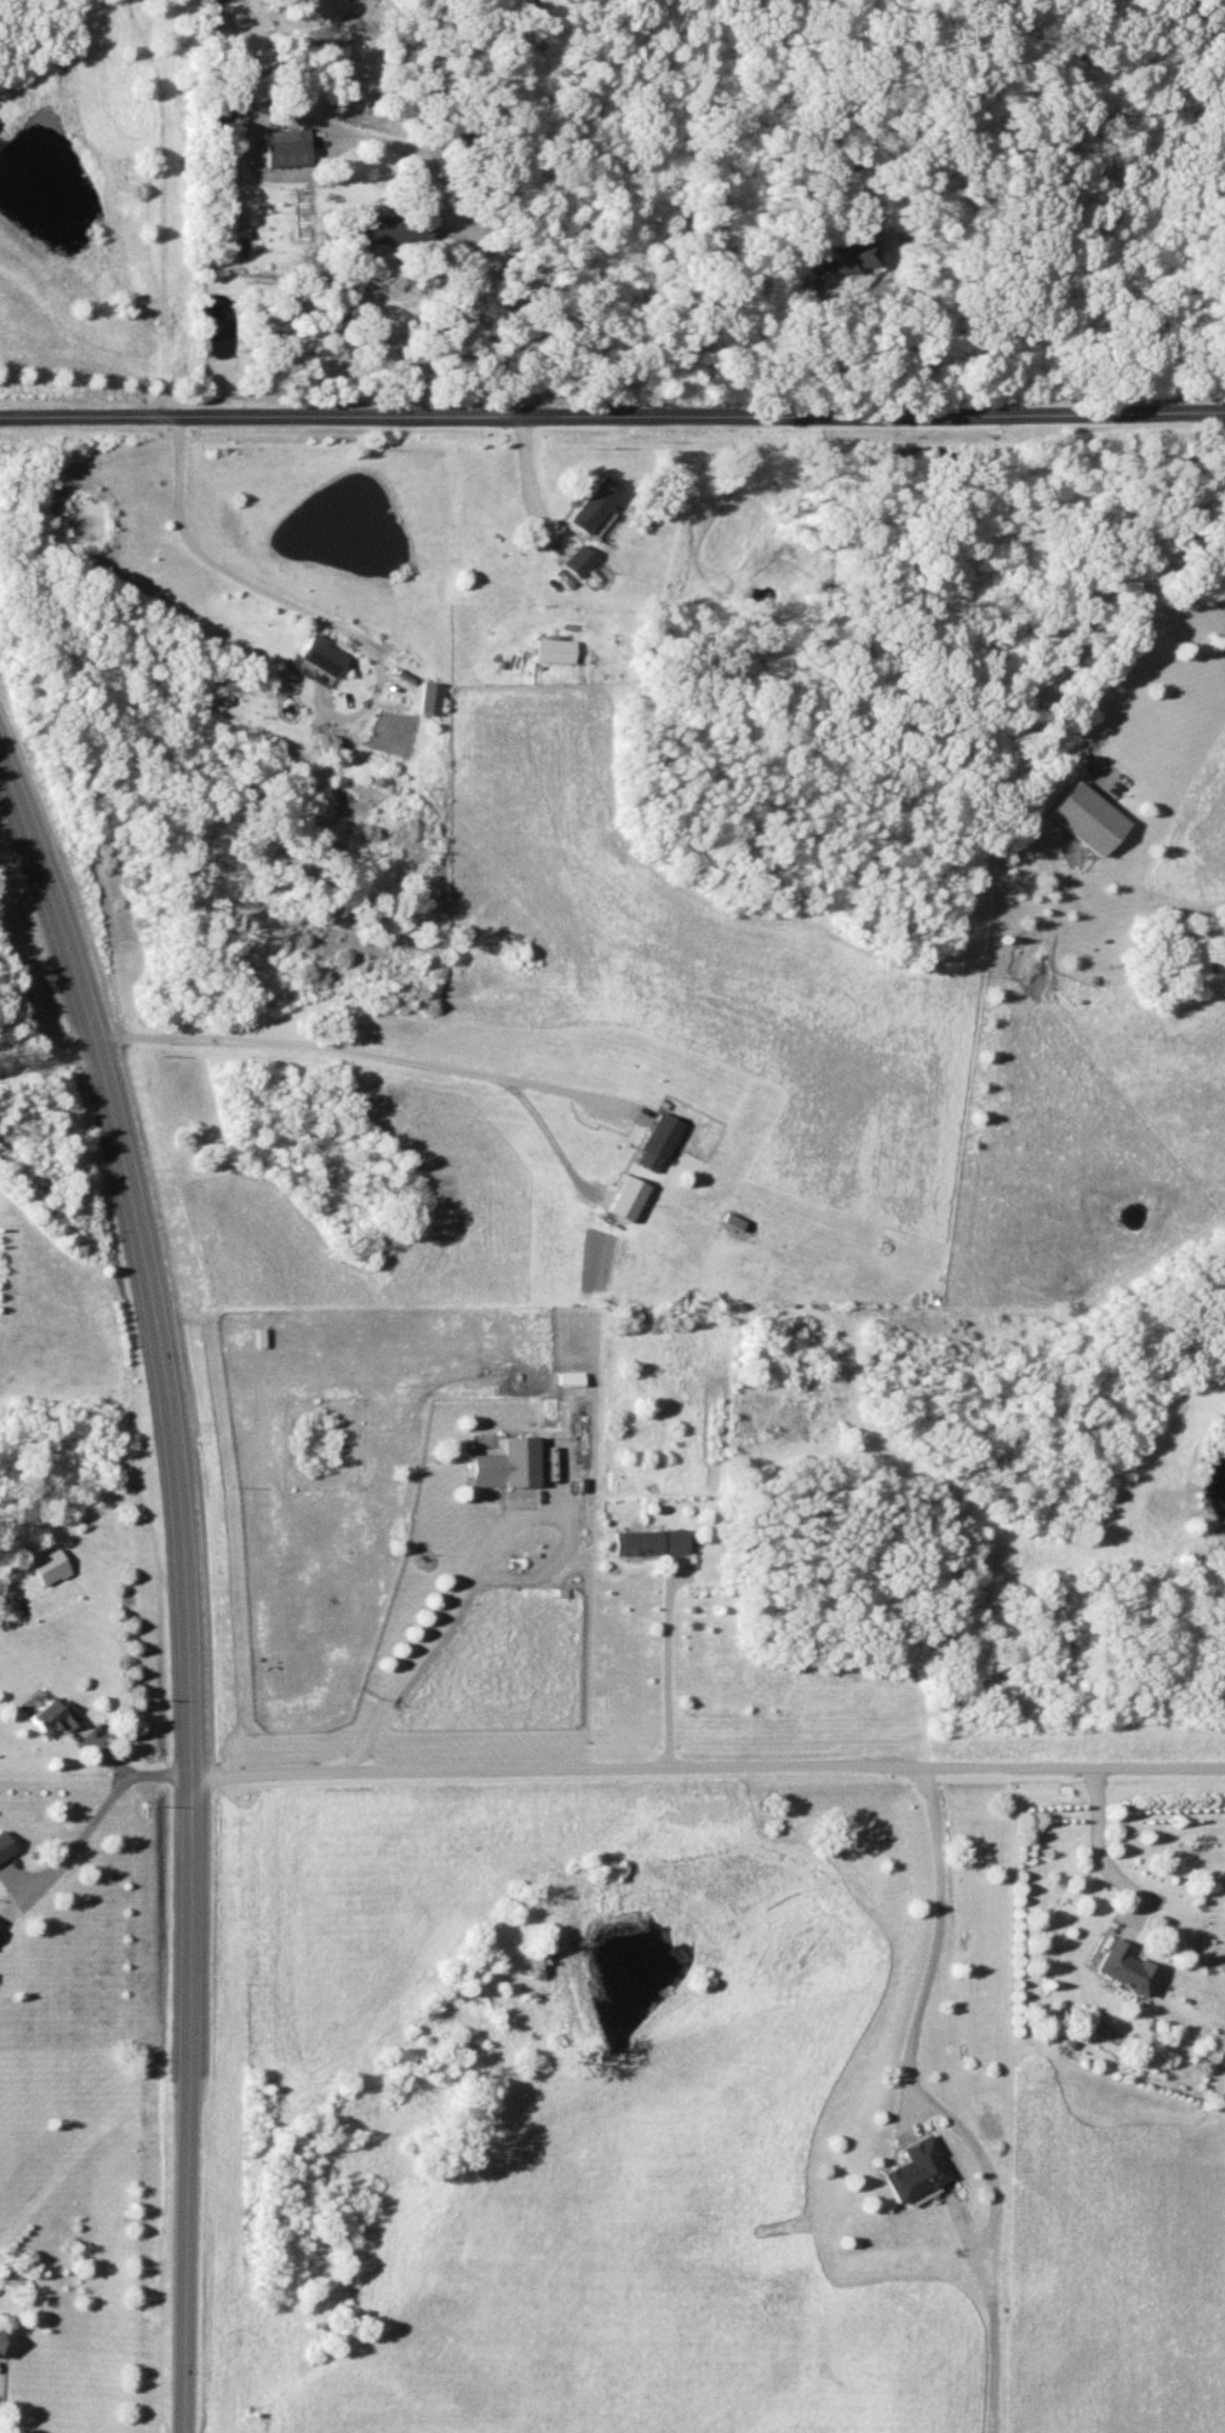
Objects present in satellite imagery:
building: (287, 147)
road: (161, 204)
building: (388, 228)
building: (838, 255)
road: (504, 309)
road: (612, 412)
road: (525, 474)
building: (593, 503)
building: (578, 560)
road: (1120, 565)
road: (257, 587)
building: (553, 651)
building: (325, 655)
building: (431, 698)
building: (1088, 819)
road: (345, 1049)
road: (46, 1055)
building: (656, 1142)
building: (504, 1463)
building: (643, 1543)
road: (181, 1597)
road: (434, 1635)
road: (664, 1674)
building: (47, 1718)
road: (708, 1766)
road: (95, 1810)
building: (4, 1845)
road: (1094, 1847)
road: (934, 1936)
building: (1127, 1966)
building: (915, 2169)

